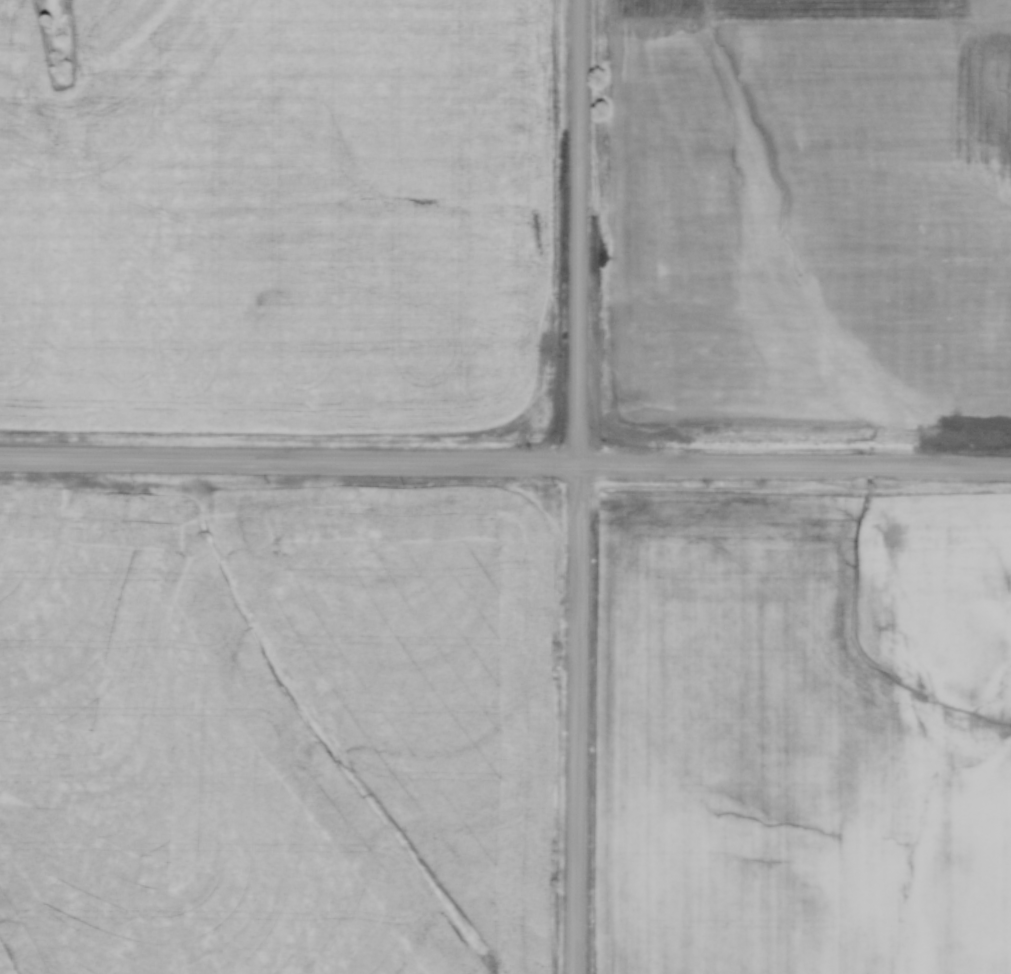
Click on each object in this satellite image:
road: (289, 461)
road: (794, 465)
road: (577, 486)

